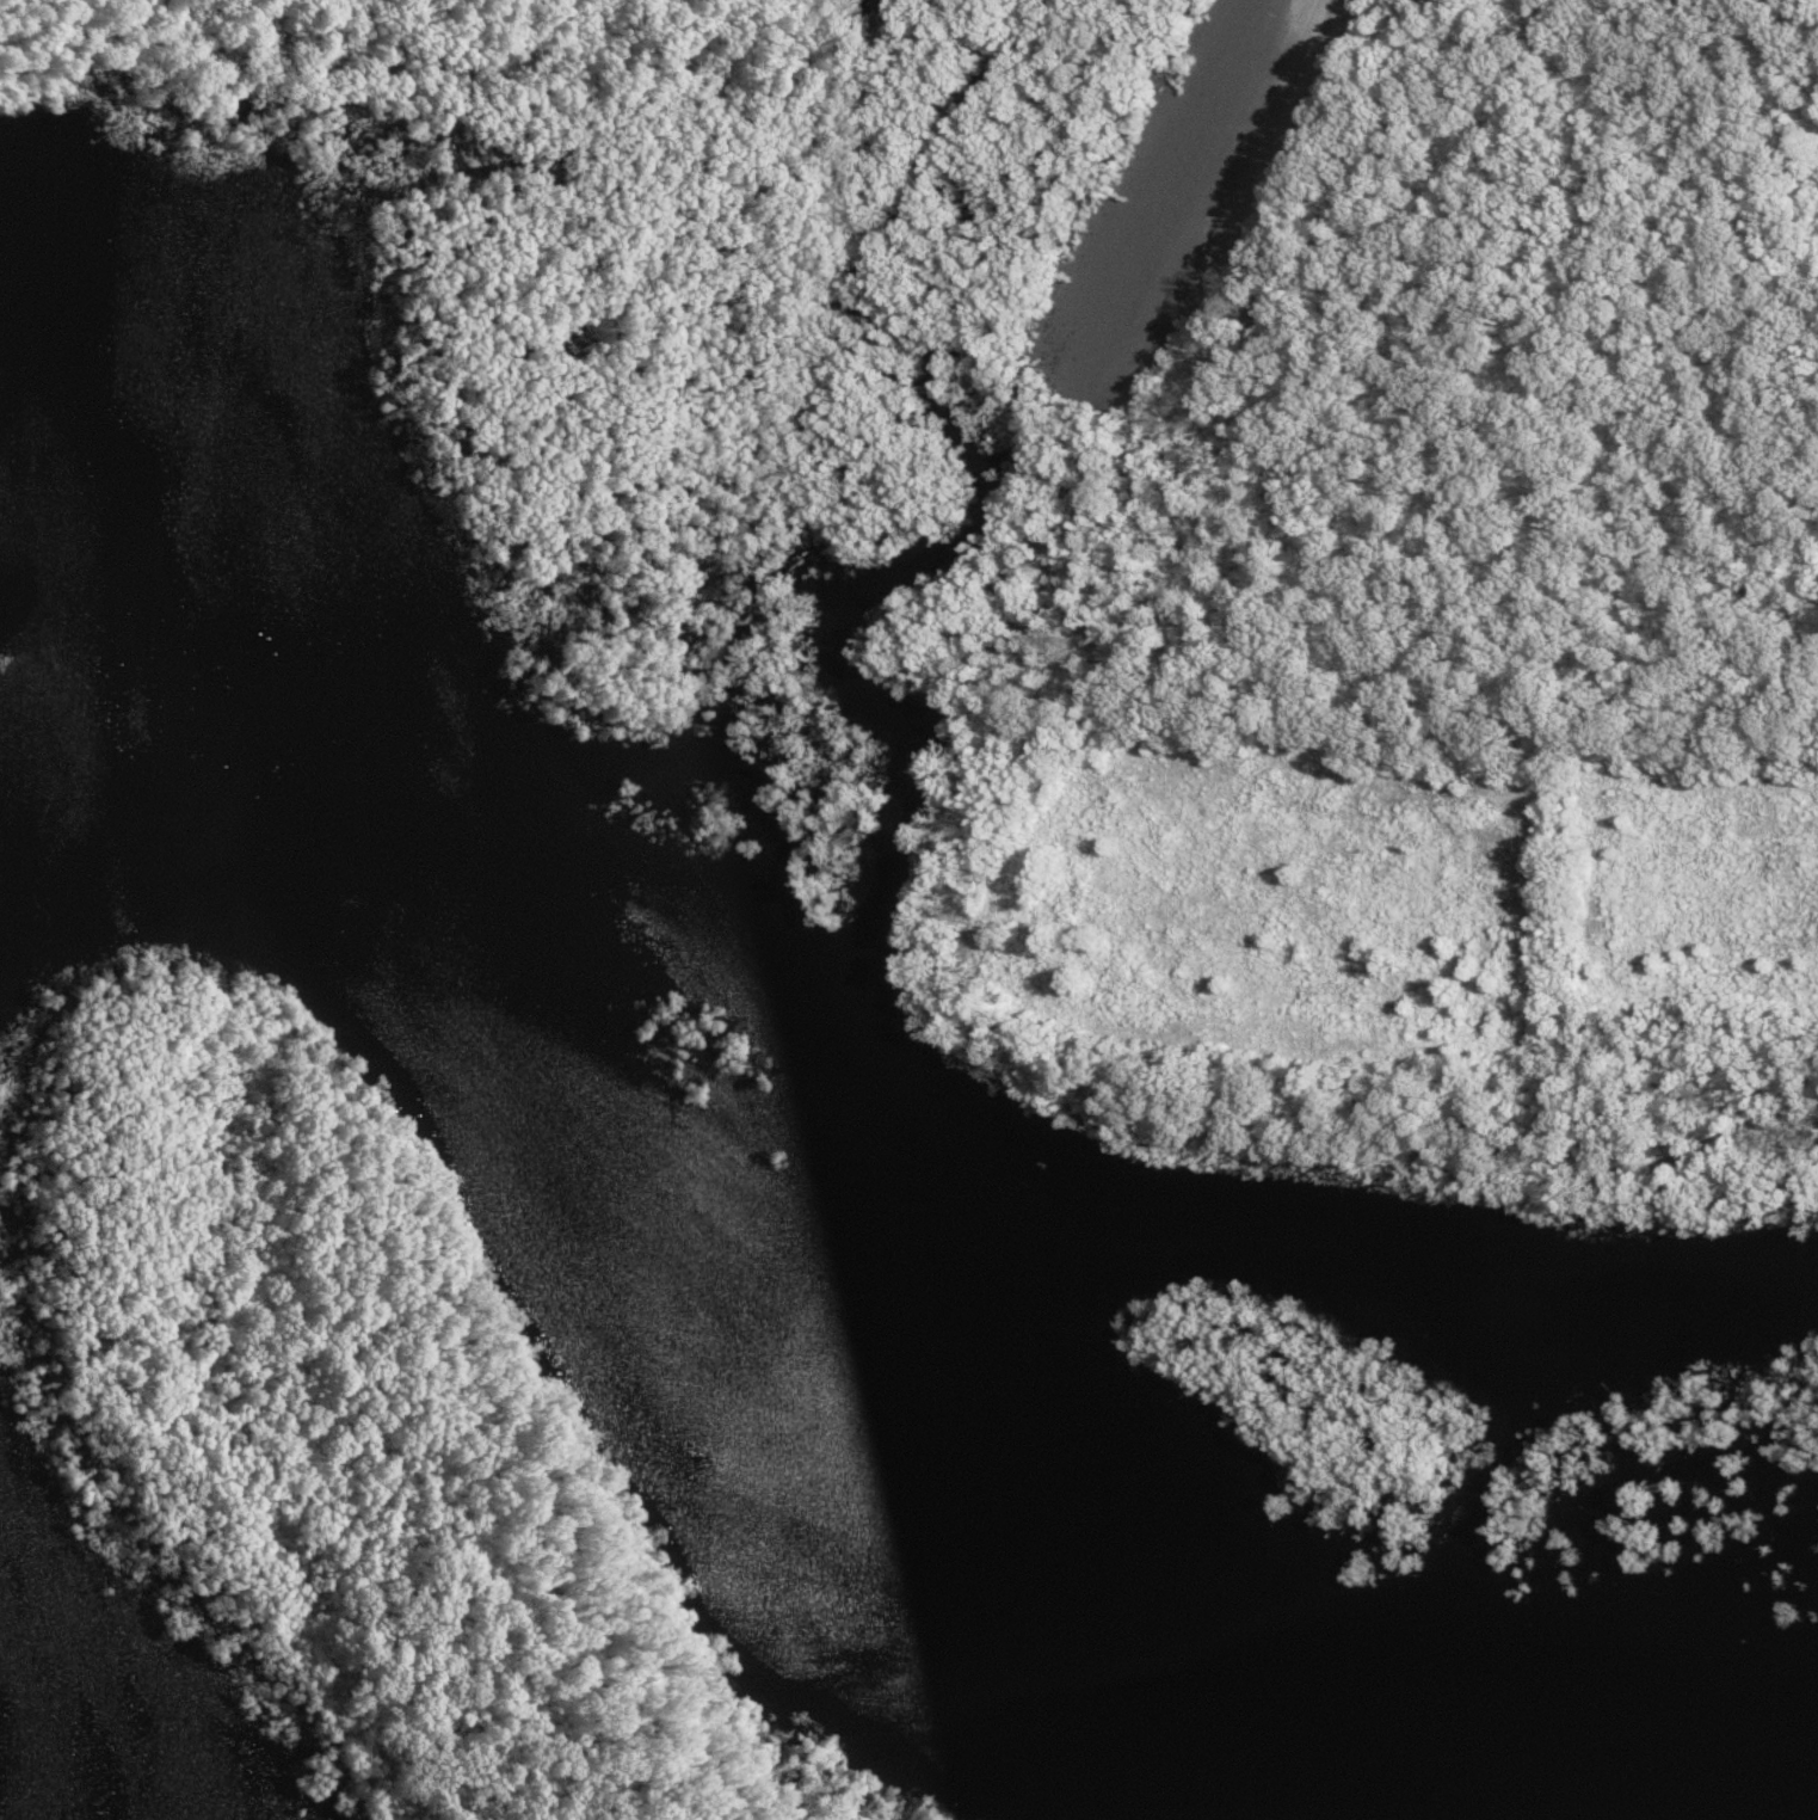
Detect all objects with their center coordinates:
river: (895, 1092)

